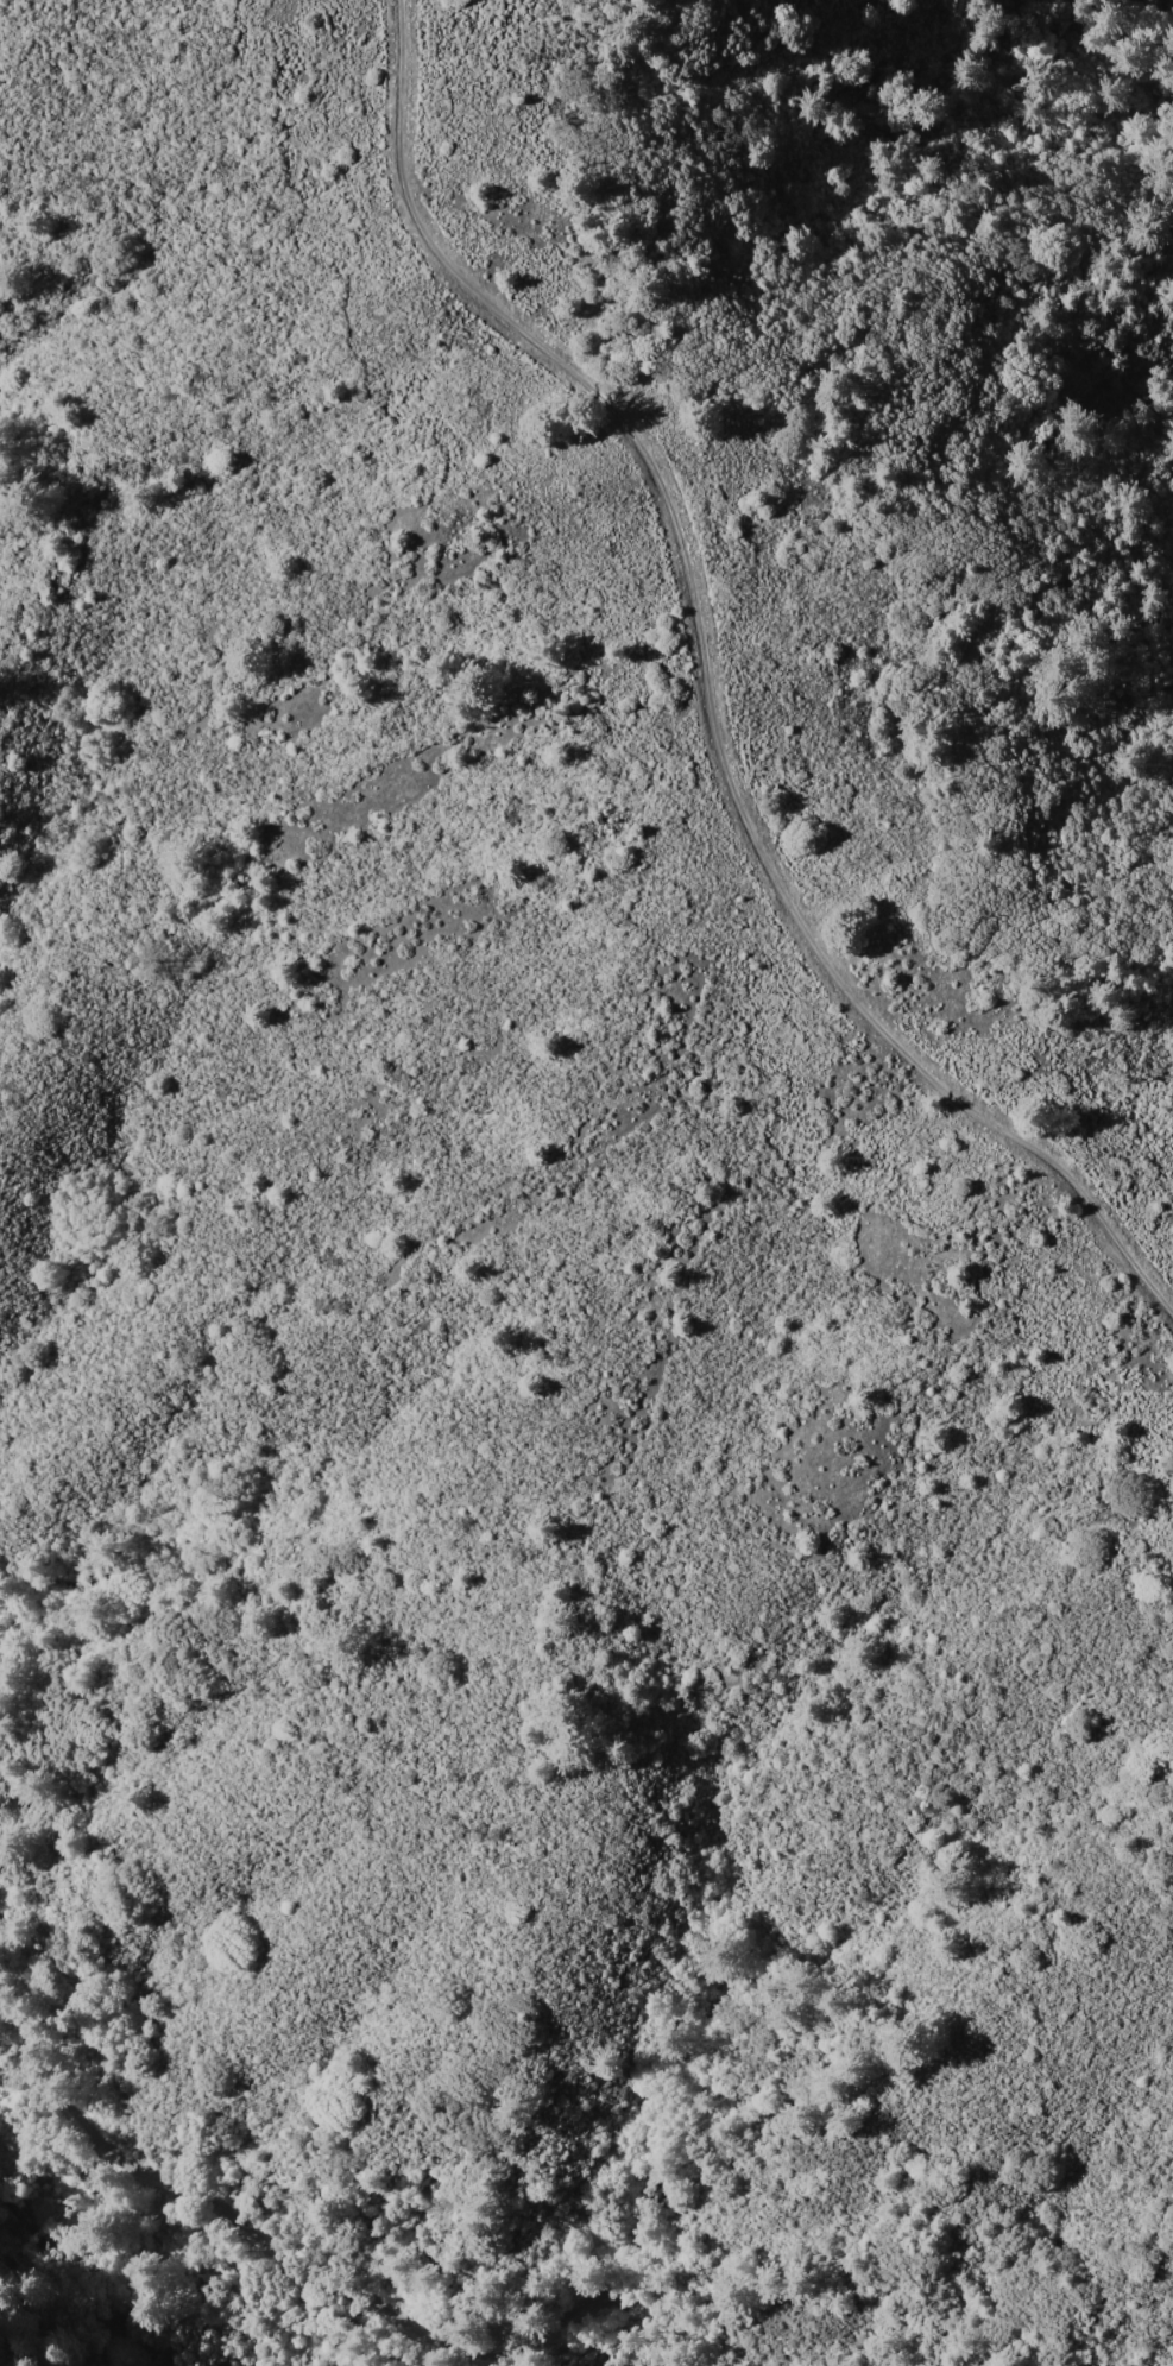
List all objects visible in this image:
road: (715, 689)
road: (342, 2269)

